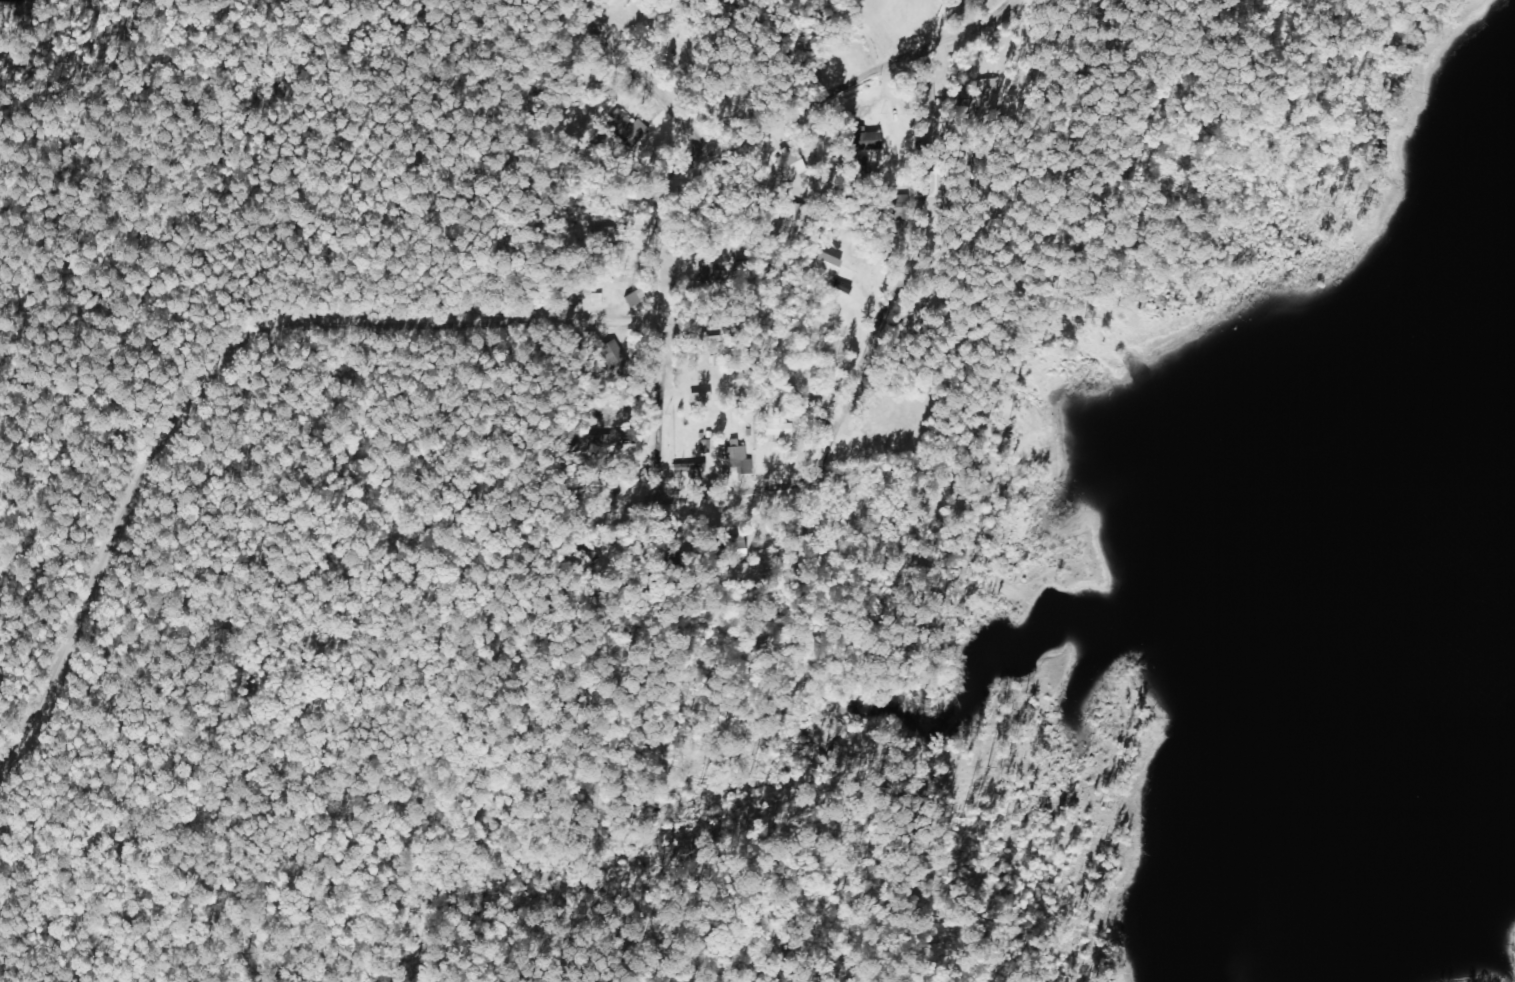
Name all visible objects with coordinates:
road: (637, 83)
road: (775, 118)
building: (792, 165)
building: (900, 207)
building: (828, 266)
building: (844, 286)
building: (637, 298)
road: (879, 331)
building: (617, 355)
road: (216, 376)
building: (780, 431)
building: (741, 458)
road: (731, 502)

